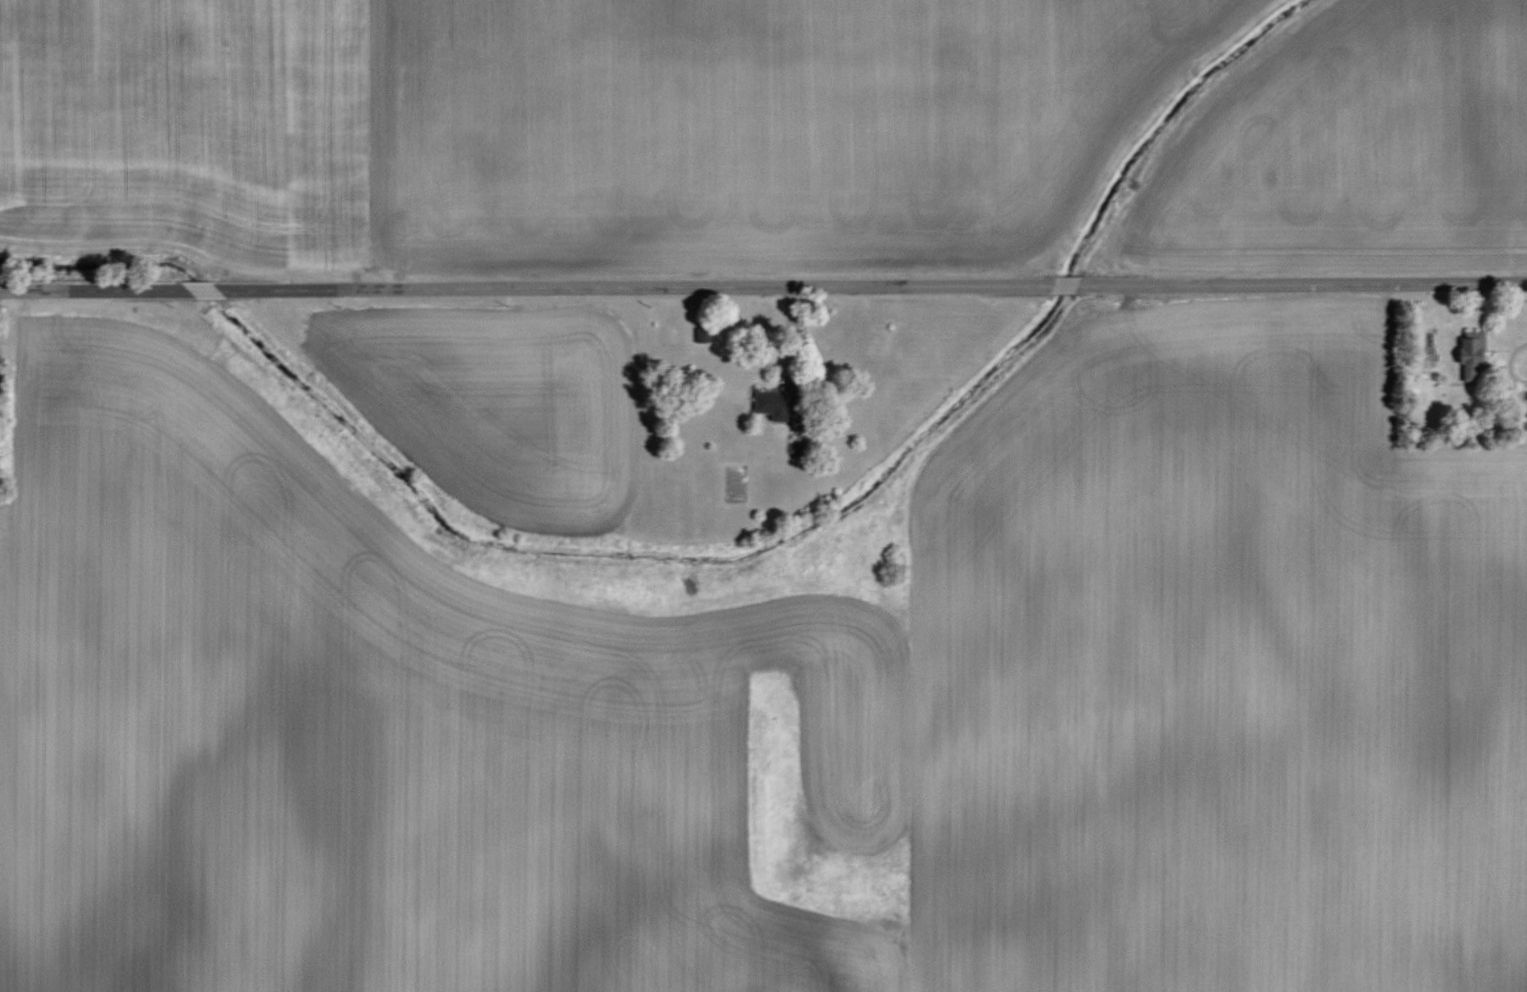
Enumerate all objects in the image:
road: (763, 283)

